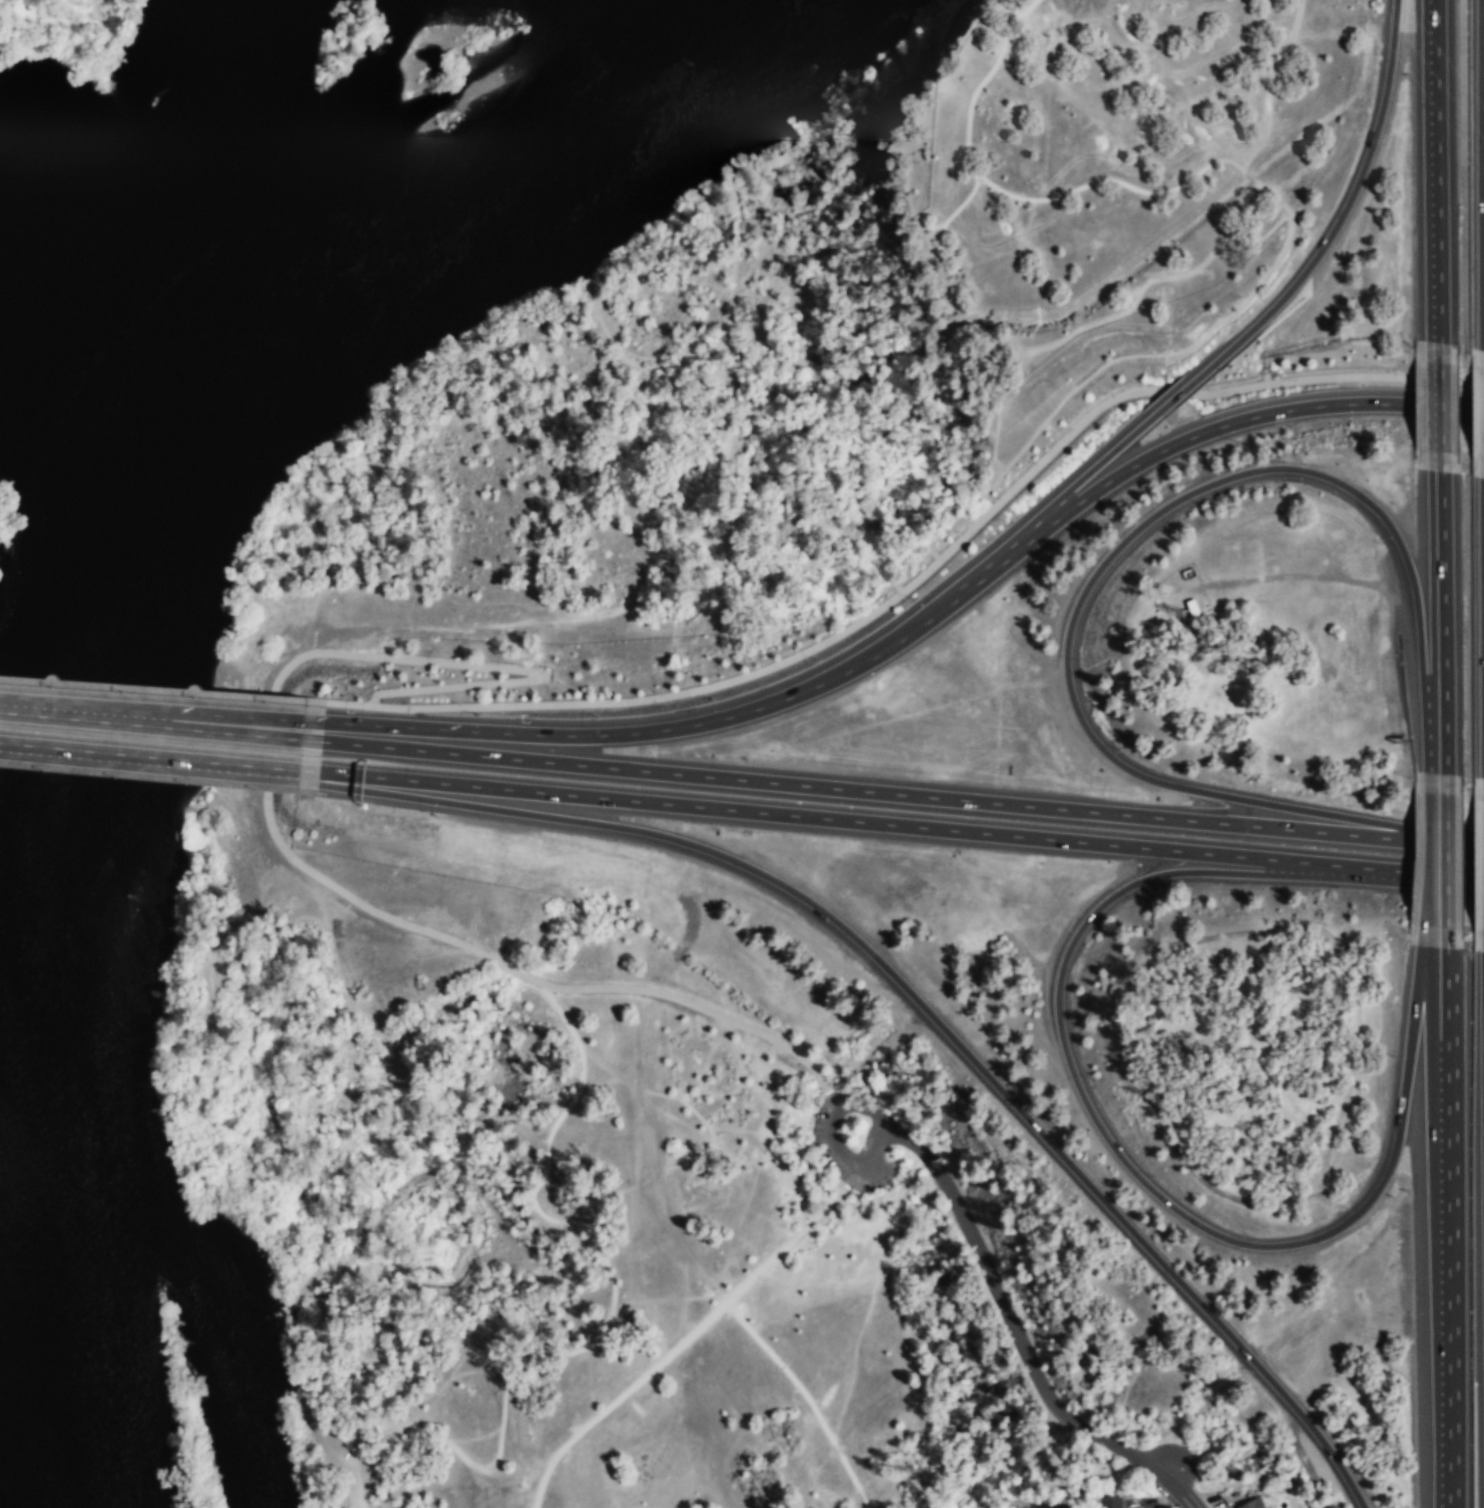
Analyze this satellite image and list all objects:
road: (1271, 85)
park: (1126, 163)
road: (1436, 170)
road: (1249, 176)
road: (1018, 198)
road: (1346, 205)
road: (951, 213)
road: (734, 282)
road: (551, 331)
road: (1165, 354)
road: (1305, 380)
road: (1464, 386)
road: (1180, 392)
road: (1435, 406)
road: (1435, 407)
road: (1464, 412)
road: (1477, 414)
road: (382, 429)
road: (1201, 433)
park: (550, 461)
road: (1082, 480)
road: (970, 506)
road: (940, 533)
road: (349, 539)
road: (1106, 559)
road: (984, 570)
road: (1436, 598)
river: (87, 599)
road: (602, 612)
road: (778, 663)
road: (485, 666)
road: (151, 689)
road: (72, 711)
road: (234, 715)
road: (655, 731)
road: (232, 733)
road: (268, 742)
road: (110, 755)
road: (1438, 760)
road: (269, 768)
road: (268, 778)
road: (866, 790)
road: (894, 824)
road: (1448, 841)
road: (1438, 860)
road: (1477, 883)
road: (1477, 885)
road: (533, 979)
road: (923, 1008)
road: (740, 1080)
road: (694, 1113)
road: (828, 1136)
parking lot: (878, 1143)
road: (660, 1152)
road: (1142, 1180)
road: (830, 1202)
building: (809, 1204)
road: (1446, 1217)
park: (615, 1219)
road: (1011, 1318)
road: (603, 1328)
road: (665, 1357)
road: (806, 1397)
road: (1175, 1488)
building: (1110, 1502)
building: (1253, 1504)

